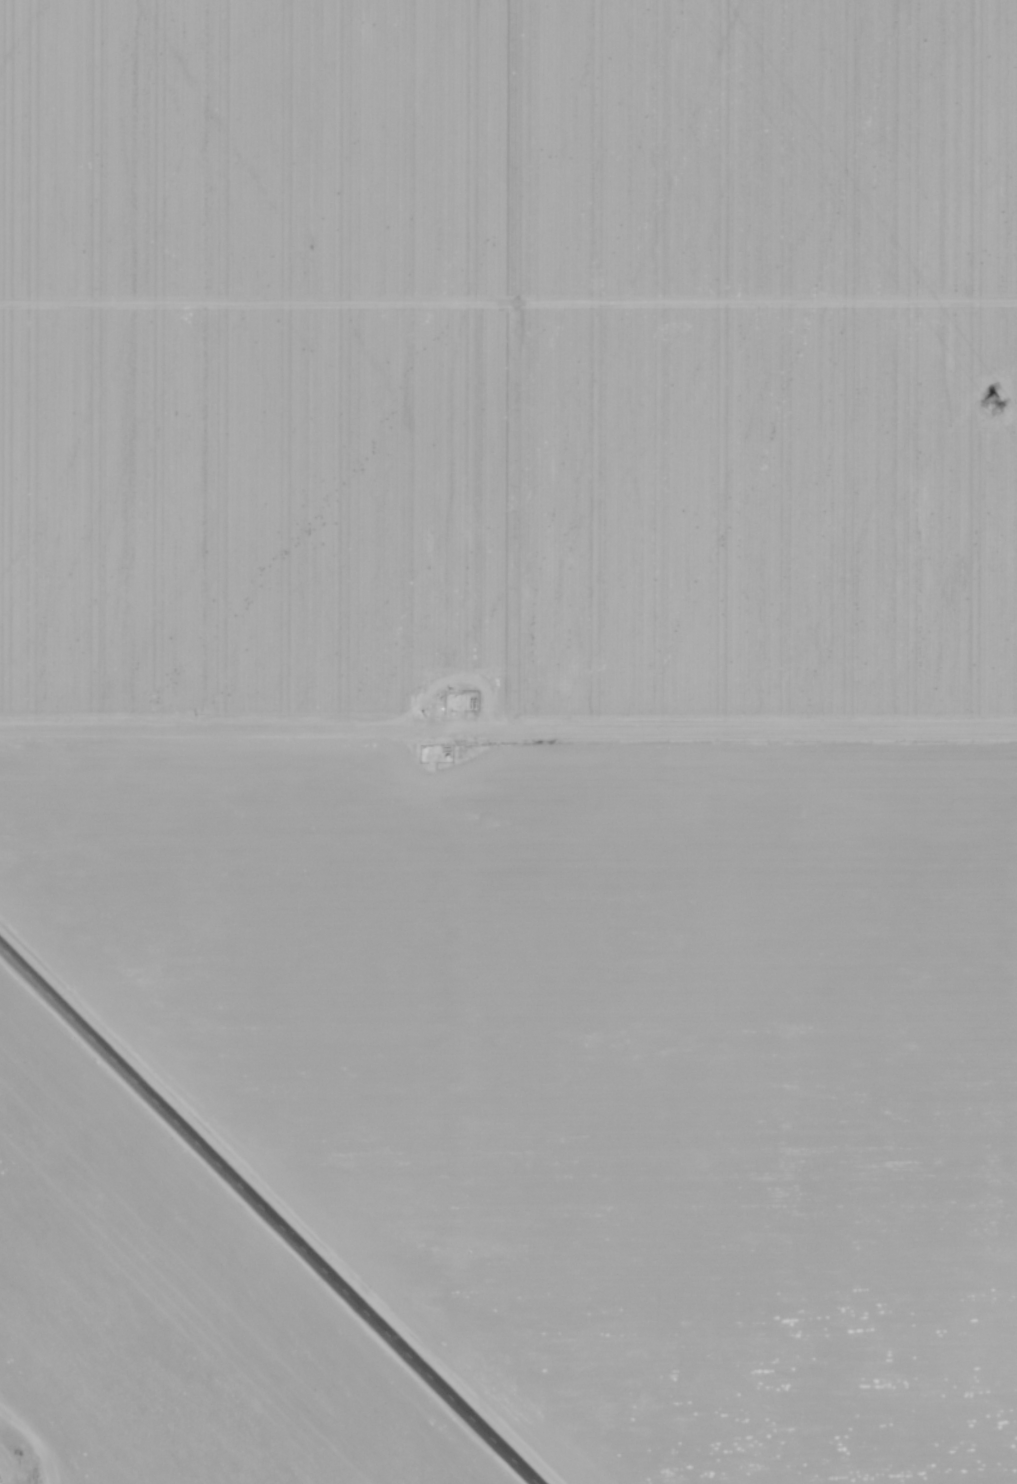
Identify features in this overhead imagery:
crop: (507, 363)
power tower: (997, 413)
road: (508, 736)
road: (271, 1212)

